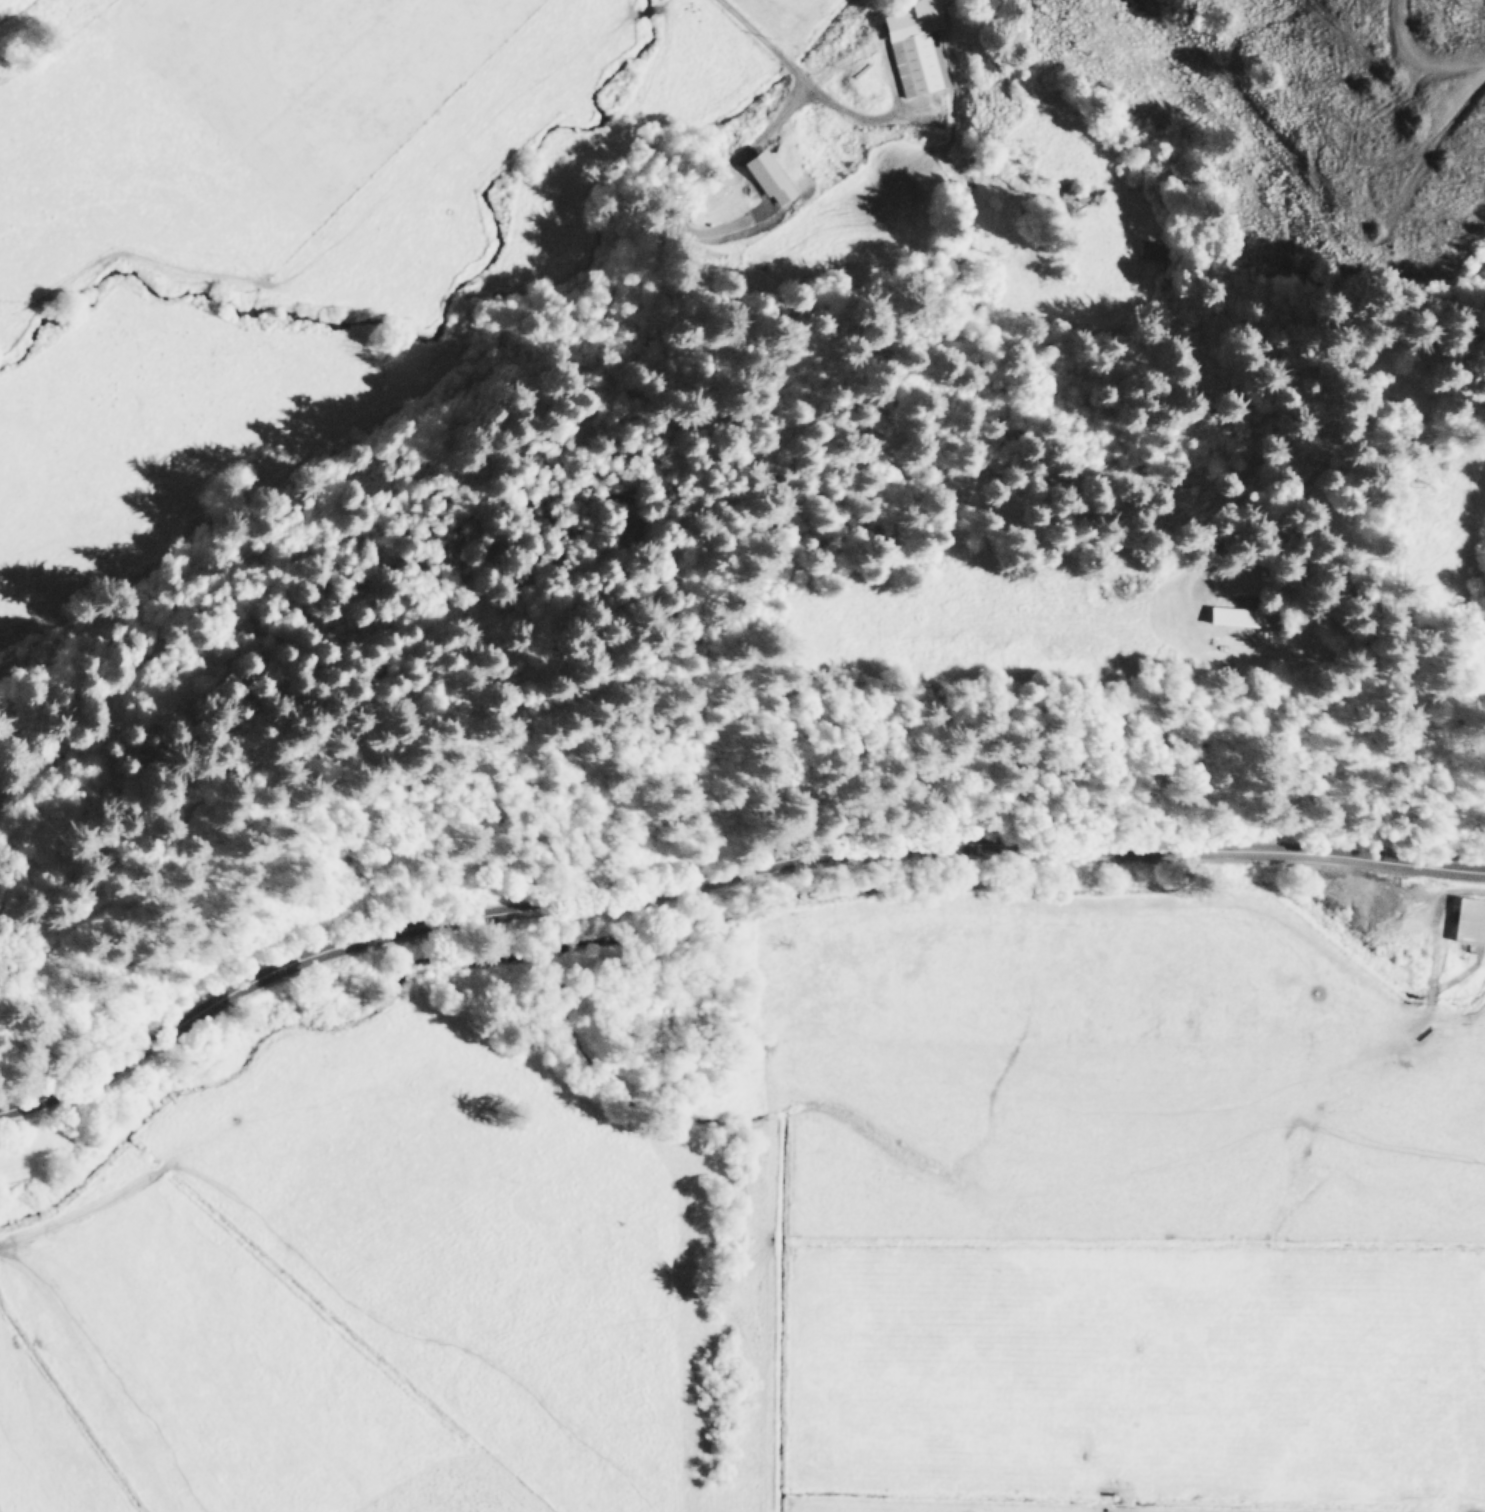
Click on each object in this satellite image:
building: (915, 47)
road: (802, 74)
building: (767, 175)
crop: (313, 224)
building: (1236, 615)
road: (722, 875)
building: (1470, 919)
crop: (790, 1223)

